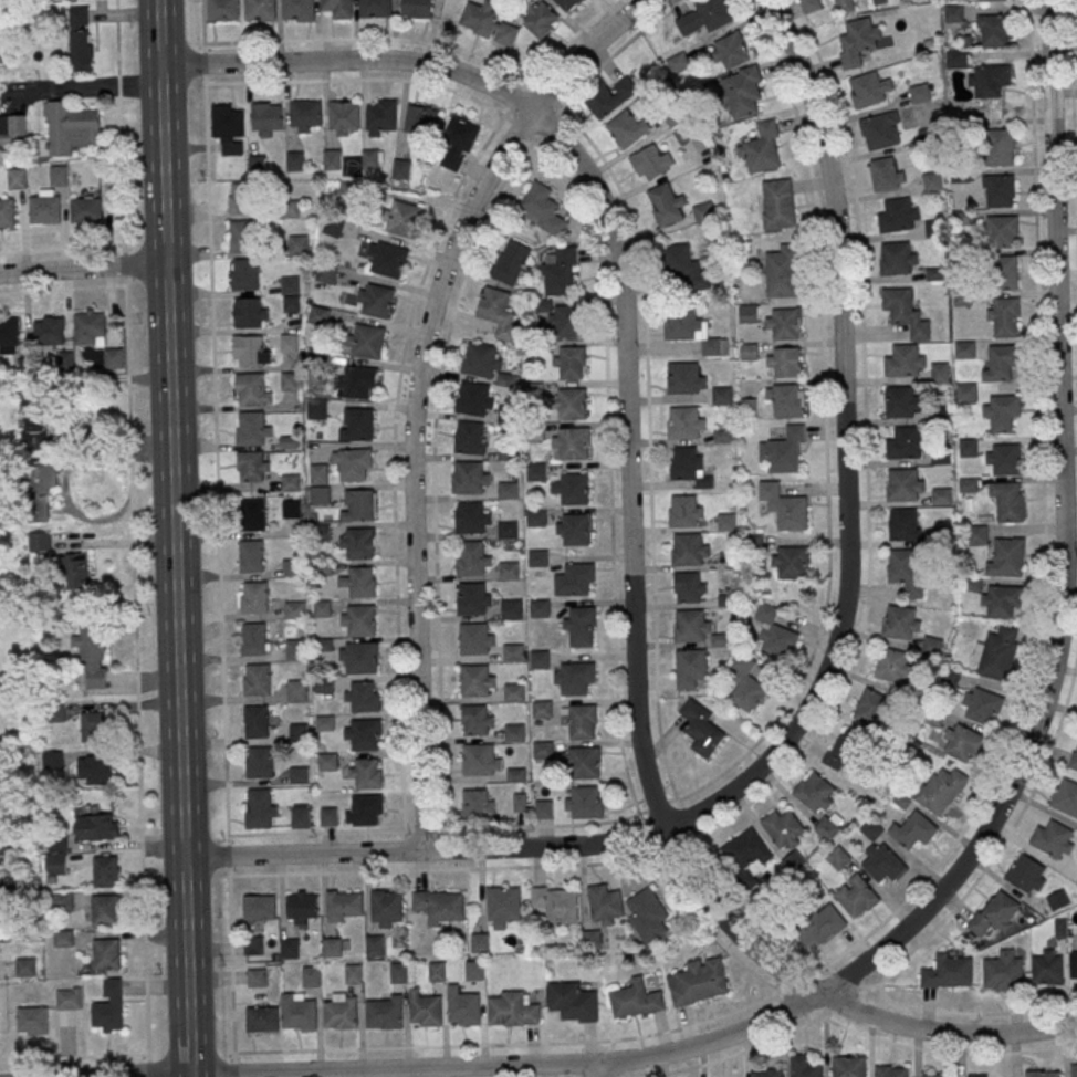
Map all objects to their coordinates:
building: (991, 0)
building: (879, 1)
building: (567, 3)
building: (811, 4)
building: (845, 6)
building: (338, 8)
building: (375, 8)
building: (417, 9)
building: (223, 10)
building: (260, 10)
building: (299, 10)
building: (953, 12)
building: (712, 14)
building: (540, 19)
building: (488, 23)
building: (992, 30)
building: (81, 39)
building: (859, 40)
building: (730, 51)
building: (955, 57)
building: (989, 79)
building: (866, 88)
building: (743, 92)
building: (609, 97)
building: (306, 116)
building: (344, 116)
building: (381, 117)
building: (268, 118)
building: (420, 122)
building: (628, 127)
road: (1073, 127)
building: (229, 128)
building: (12, 129)
building: (67, 129)
building: (881, 129)
building: (683, 135)
building: (459, 143)
building: (1000, 146)
building: (762, 149)
building: (333, 159)
building: (372, 159)
building: (295, 161)
building: (651, 161)
building: (257, 164)
building: (401, 169)
building: (887, 172)
building: (59, 176)
building: (17, 178)
building: (932, 180)
building: (998, 190)
building: (243, 201)
building: (777, 203)
building: (666, 205)
building: (542, 209)
building: (704, 211)
building: (45, 212)
building: (87, 212)
building: (899, 215)
building: (7, 216)
building: (402, 219)
building: (332, 228)
building: (1000, 231)
building: (243, 239)
building: (299, 244)
road: (61, 250)
building: (386, 259)
building: (897, 261)
building: (511, 262)
building: (686, 266)
road: (83, 270)
building: (782, 271)
building: (1006, 271)
building: (560, 272)
building: (326, 273)
building: (245, 276)
building: (291, 294)
building: (378, 301)
building: (498, 312)
building: (746, 314)
building: (249, 315)
building: (320, 315)
building: (906, 315)
building: (1004, 316)
building: (568, 323)
building: (784, 323)
building: (682, 325)
building: (91, 331)
building: (9, 334)
building: (50, 334)
building: (365, 341)
building: (289, 343)
building: (749, 352)
building: (965, 352)
building: (249, 353)
building: (113, 358)
building: (484, 362)
building: (784, 362)
building: (905, 363)
building: (572, 365)
building: (1001, 365)
building: (940, 373)
building: (686, 380)
road: (624, 381)
building: (359, 383)
road: (416, 387)
building: (251, 391)
building: (966, 394)
building: (722, 396)
building: (475, 399)
building: (785, 399)
building: (900, 405)
building: (569, 406)
building: (749, 408)
building: (316, 410)
building: (1003, 415)
building: (940, 417)
building: (32, 422)
building: (356, 424)
building: (686, 426)
road: (171, 428)
building: (251, 431)
building: (534, 433)
building: (471, 438)
building: (573, 446)
building: (907, 446)
building: (969, 449)
building: (784, 451)
building: (1003, 457)
building: (941, 458)
building: (352, 464)
building: (688, 466)
building: (252, 467)
building: (536, 473)
building: (318, 474)
building: (469, 480)
building: (291, 482)
building: (969, 484)
building: (905, 488)
building: (38, 491)
building: (573, 491)
building: (509, 492)
building: (320, 494)
building: (942, 499)
building: (1008, 504)
building: (357, 505)
building: (784, 506)
building: (291, 509)
building: (684, 514)
building: (253, 516)
building: (473, 517)
building: (537, 520)
building: (726, 522)
building: (905, 523)
road: (132, 525)
building: (509, 532)
building: (575, 532)
building: (976, 534)
building: (943, 536)
road: (218, 538)
road: (1064, 540)
building: (39, 541)
building: (357, 544)
building: (690, 552)
building: (1007, 557)
building: (251, 560)
building: (537, 560)
building: (470, 562)
building: (791, 563)
building: (903, 565)
building: (290, 568)
building: (74, 572)
building: (510, 573)
building: (359, 582)
building: (575, 583)
building: (690, 587)
building: (1001, 599)
building: (255, 600)
building: (472, 602)
building: (322, 608)
building: (295, 610)
building: (540, 610)
building: (512, 611)
building: (358, 620)
building: (901, 621)
building: (581, 628)
building: (691, 629)
building: (775, 632)
road: (1037, 637)
building: (254, 642)
building: (473, 642)
building: (932, 645)
building: (295, 649)
building: (93, 651)
building: (997, 652)
building: (513, 655)
building: (358, 658)
building: (540, 661)
building: (893, 665)
building: (691, 670)
building: (575, 680)
building: (258, 683)
building: (475, 683)
road: (817, 683)
building: (745, 684)
building: (296, 690)
building: (514, 694)
building: (362, 697)
building: (983, 704)
building: (872, 707)
building: (542, 711)
building: (478, 720)
building: (581, 721)
building: (324, 723)
building: (257, 725)
building: (94, 726)
building: (701, 729)
building: (297, 733)
building: (363, 734)
building: (515, 734)
building: (963, 742)
building: (845, 750)
building: (543, 752)
building: (1074, 757)
building: (53, 760)
building: (327, 762)
building: (480, 763)
building: (583, 763)
building: (261, 765)
building: (95, 770)
building: (365, 773)
building: (299, 775)
building: (942, 790)
building: (815, 793)
building: (1066, 796)
building: (583, 802)
road: (671, 802)
building: (478, 804)
building: (364, 809)
building: (543, 809)
building: (259, 812)
building: (328, 816)
building: (300, 817)
building: (828, 825)
building: (98, 827)
building: (871, 828)
building: (784, 829)
building: (913, 829)
building: (1054, 839)
building: (1, 847)
building: (747, 854)
building: (838, 857)
building: (882, 861)
building: (106, 871)
building: (1027, 874)
building: (856, 896)
building: (1058, 899)
building: (63, 901)
building: (302, 905)
building: (556, 905)
building: (603, 905)
building: (344, 906)
building: (259, 907)
building: (440, 907)
building: (502, 907)
building: (386, 909)
building: (105, 910)
building: (995, 912)
building: (648, 917)
road: (943, 919)
building: (820, 927)
building: (63, 938)
building: (590, 939)
building: (480, 942)
building: (253, 945)
building: (374, 945)
building: (289, 948)
building: (332, 948)
building: (106, 954)
building: (1074, 962)
building: (25, 966)
building: (1047, 966)
road: (186, 968)
building: (473, 970)
building: (1004, 970)
building: (437, 971)
building: (949, 971)
building: (399, 972)
building: (353, 973)
building: (311, 976)
building: (257, 977)
building: (699, 982)
building: (69, 998)
building: (635, 1000)
building: (573, 1002)
building: (108, 1007)
building: (463, 1007)
building: (425, 1010)
building: (512, 1010)
building: (341, 1011)
building: (299, 1012)
building: (384, 1012)
road: (818, 1016)
building: (262, 1018)
building: (32, 1022)
road: (1042, 1047)
road: (74, 1058)
road: (594, 1063)
road: (148, 1064)
building: (806, 1066)
building: (849, 1066)
road: (598, 1069)
building: (1074, 1069)
building: (891, 1070)
building: (768, 1073)
building: (1044, 1074)
building: (939, 1075)
building: (977, 1075)

